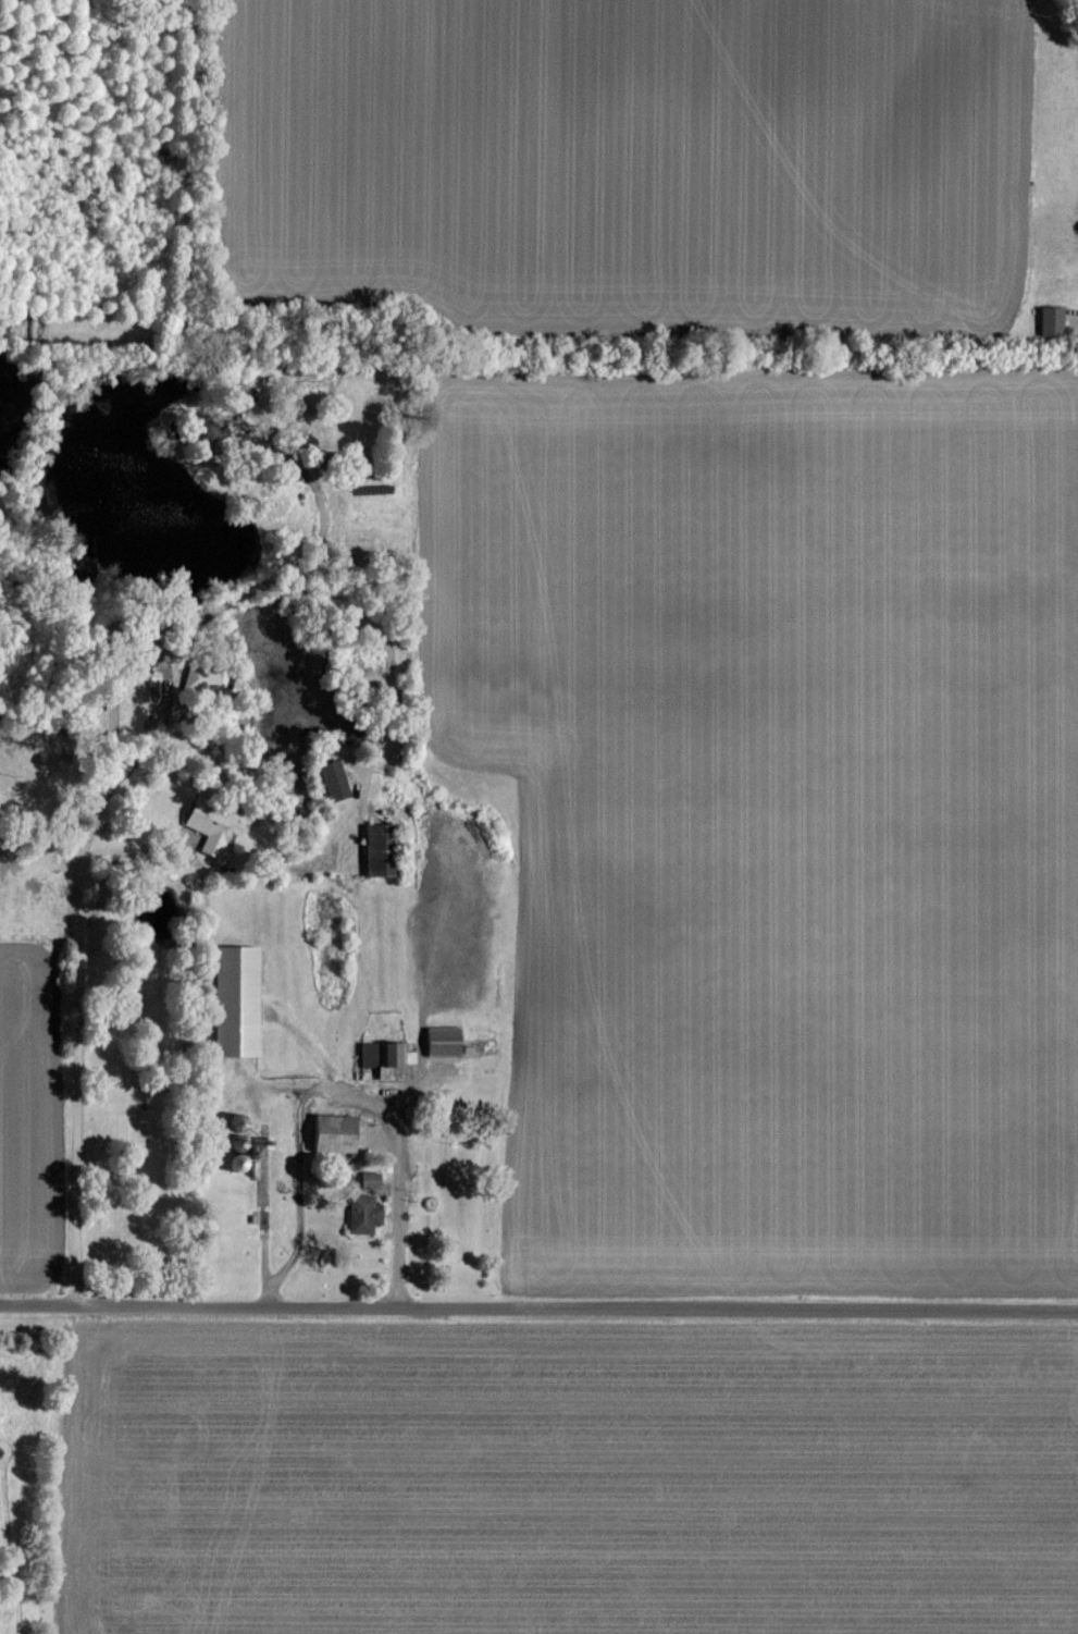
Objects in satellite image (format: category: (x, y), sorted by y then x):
building: (1049, 318)
road: (127, 454)
road: (44, 508)
building: (201, 677)
road: (110, 748)
building: (330, 778)
road: (42, 825)
building: (206, 825)
building: (373, 850)
building: (231, 999)
building: (441, 1040)
building: (384, 1057)
road: (321, 1085)
building: (327, 1131)
building: (368, 1178)
building: (360, 1213)
road: (538, 1313)

